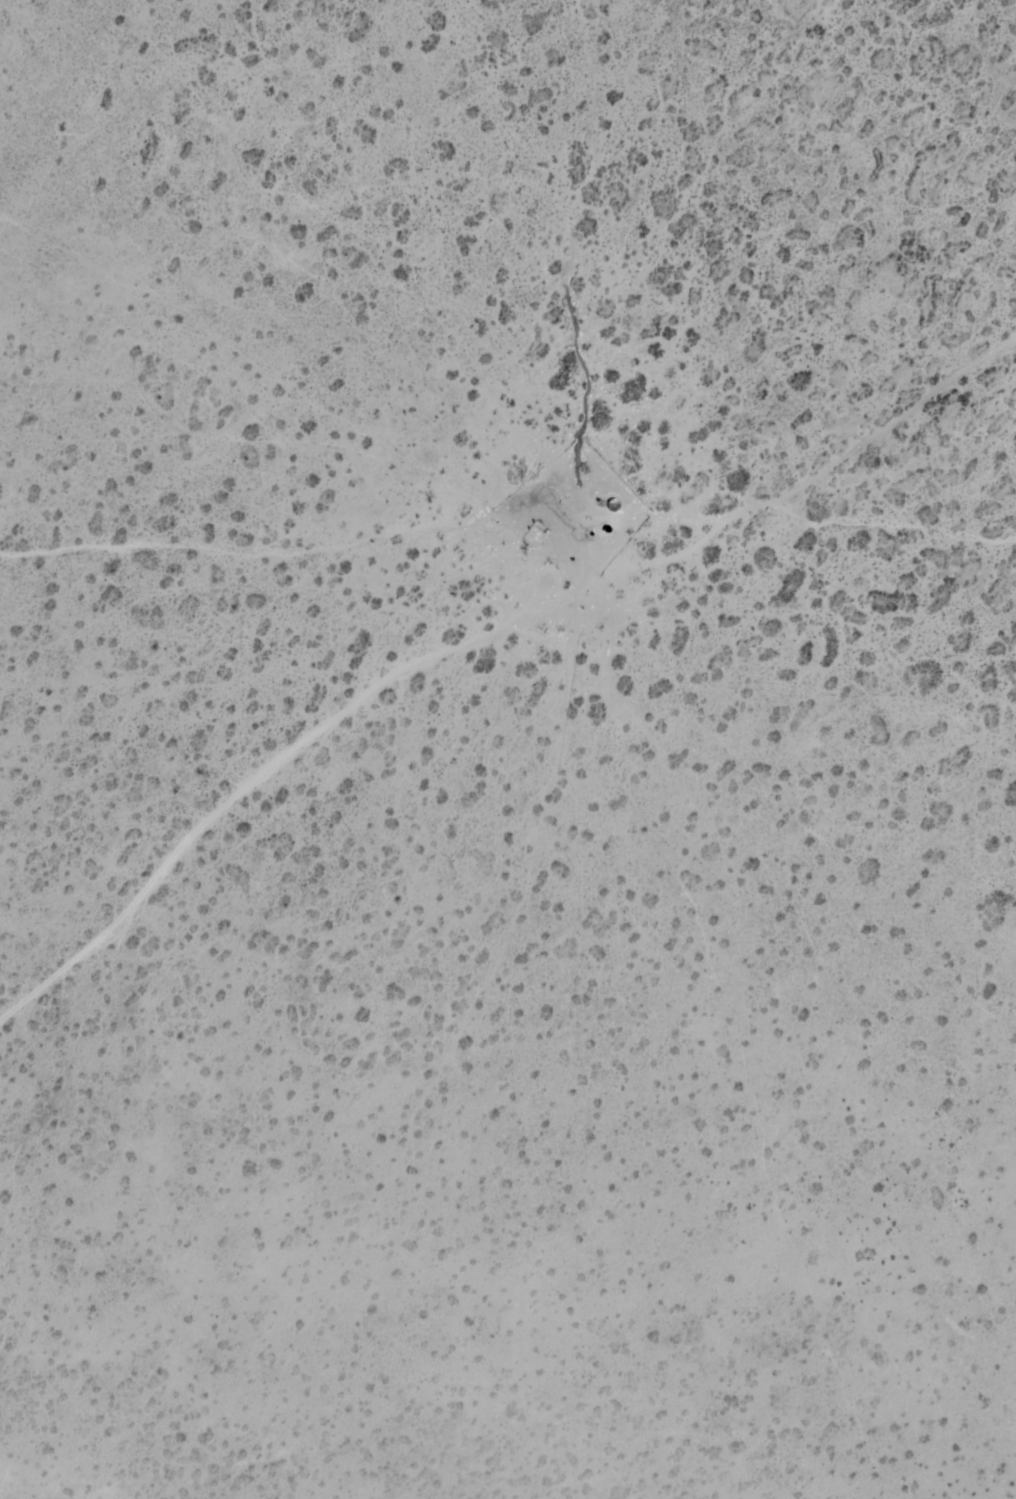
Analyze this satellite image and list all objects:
road: (811, 414)
road: (288, 738)

